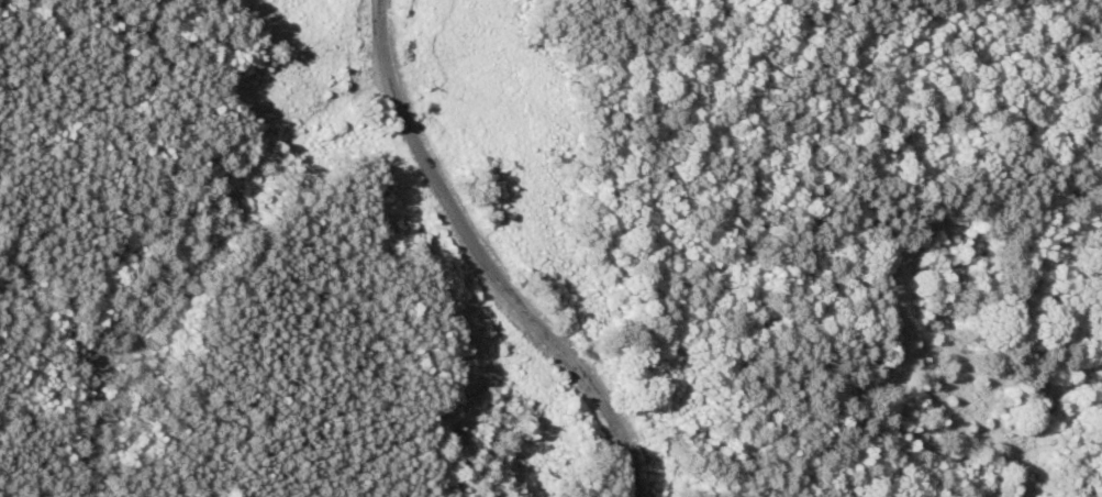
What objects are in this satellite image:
road: (488, 258)

